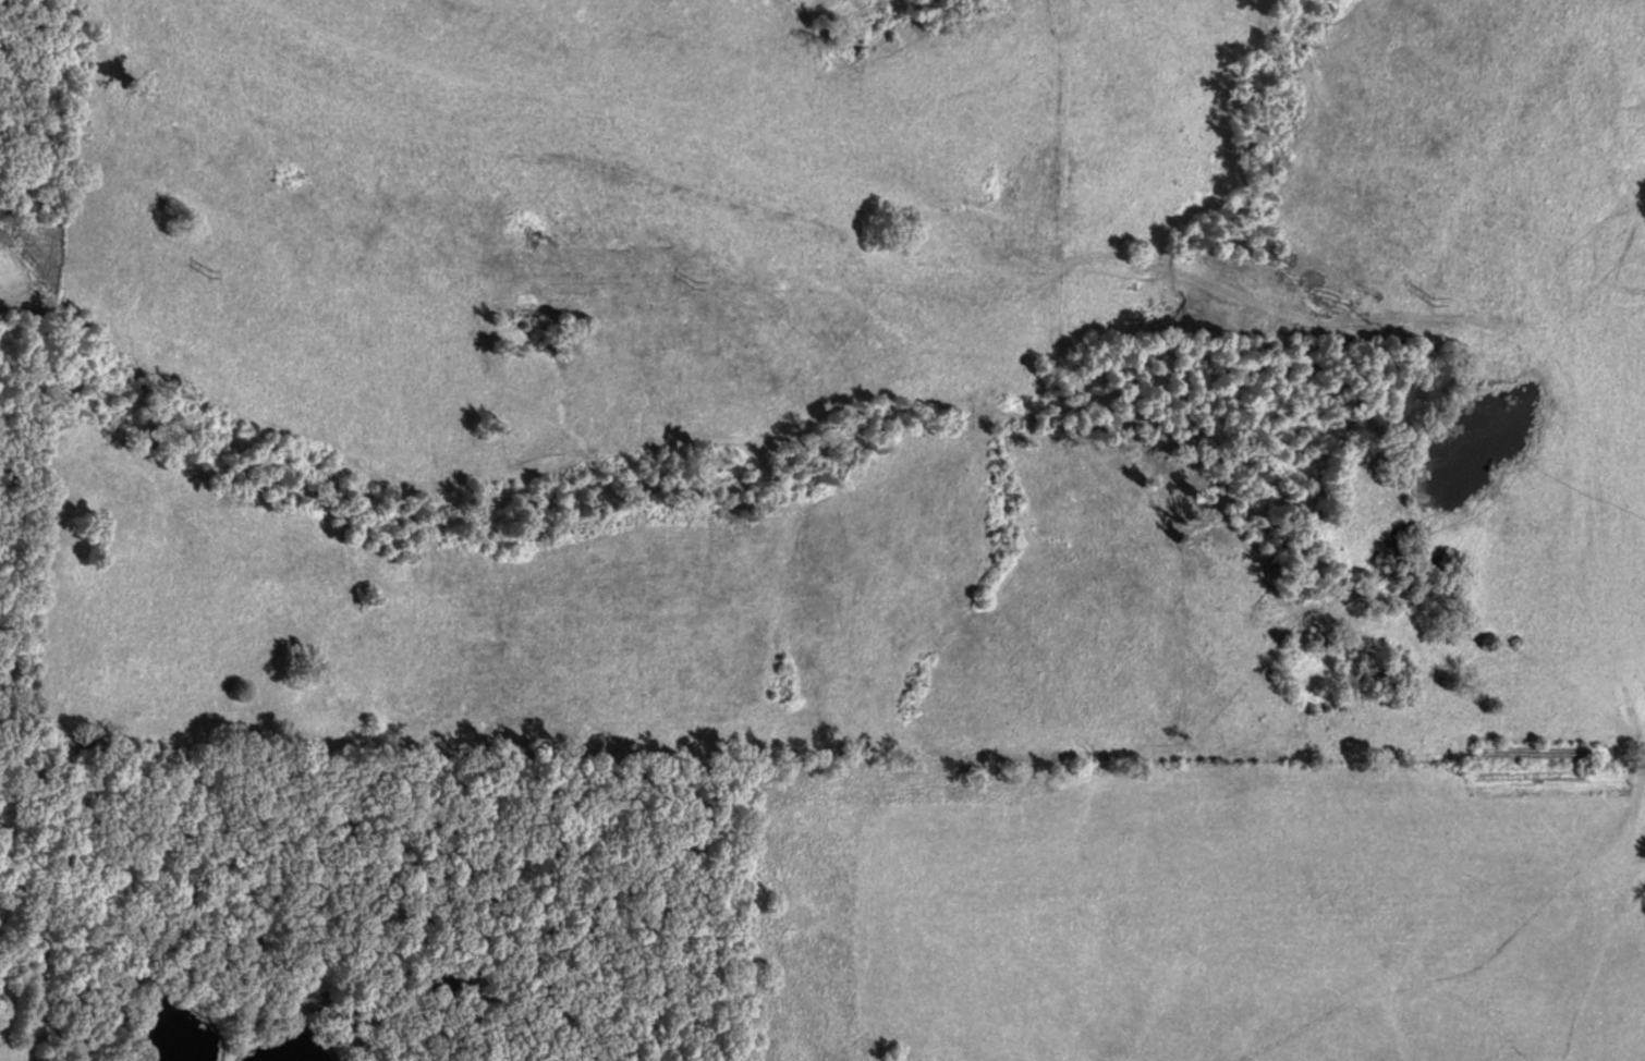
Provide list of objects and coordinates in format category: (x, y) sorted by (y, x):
road: (1614, 1033)

